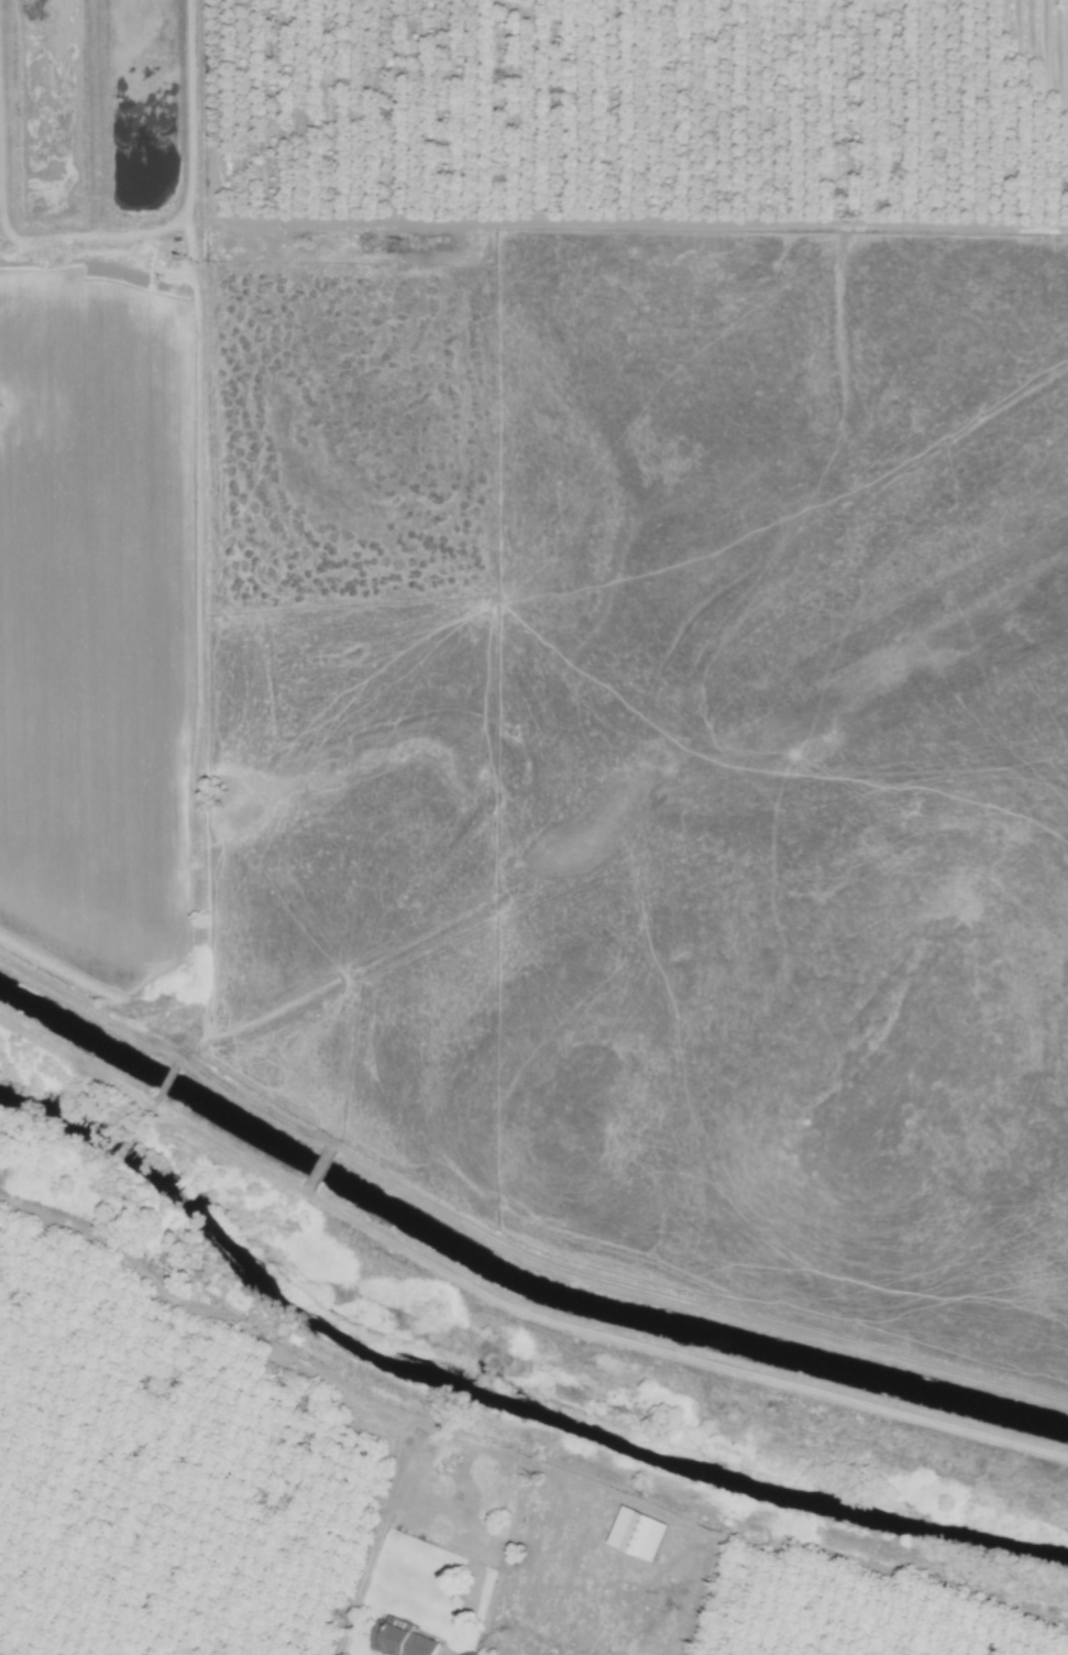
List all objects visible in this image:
building: (638, 1533)
building: (401, 1640)

